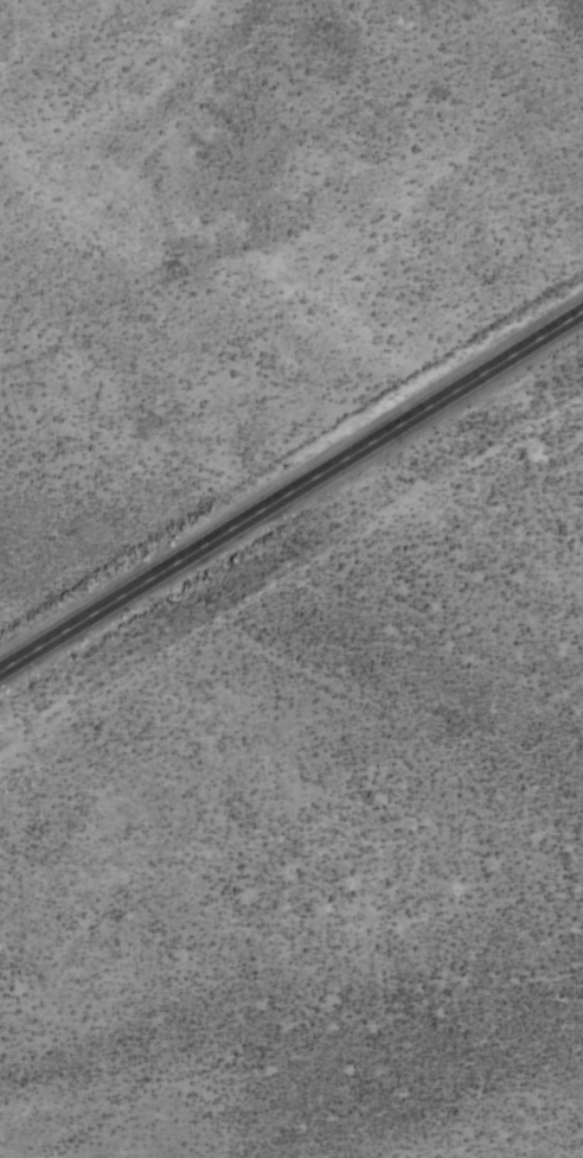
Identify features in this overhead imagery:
road: (291, 488)

